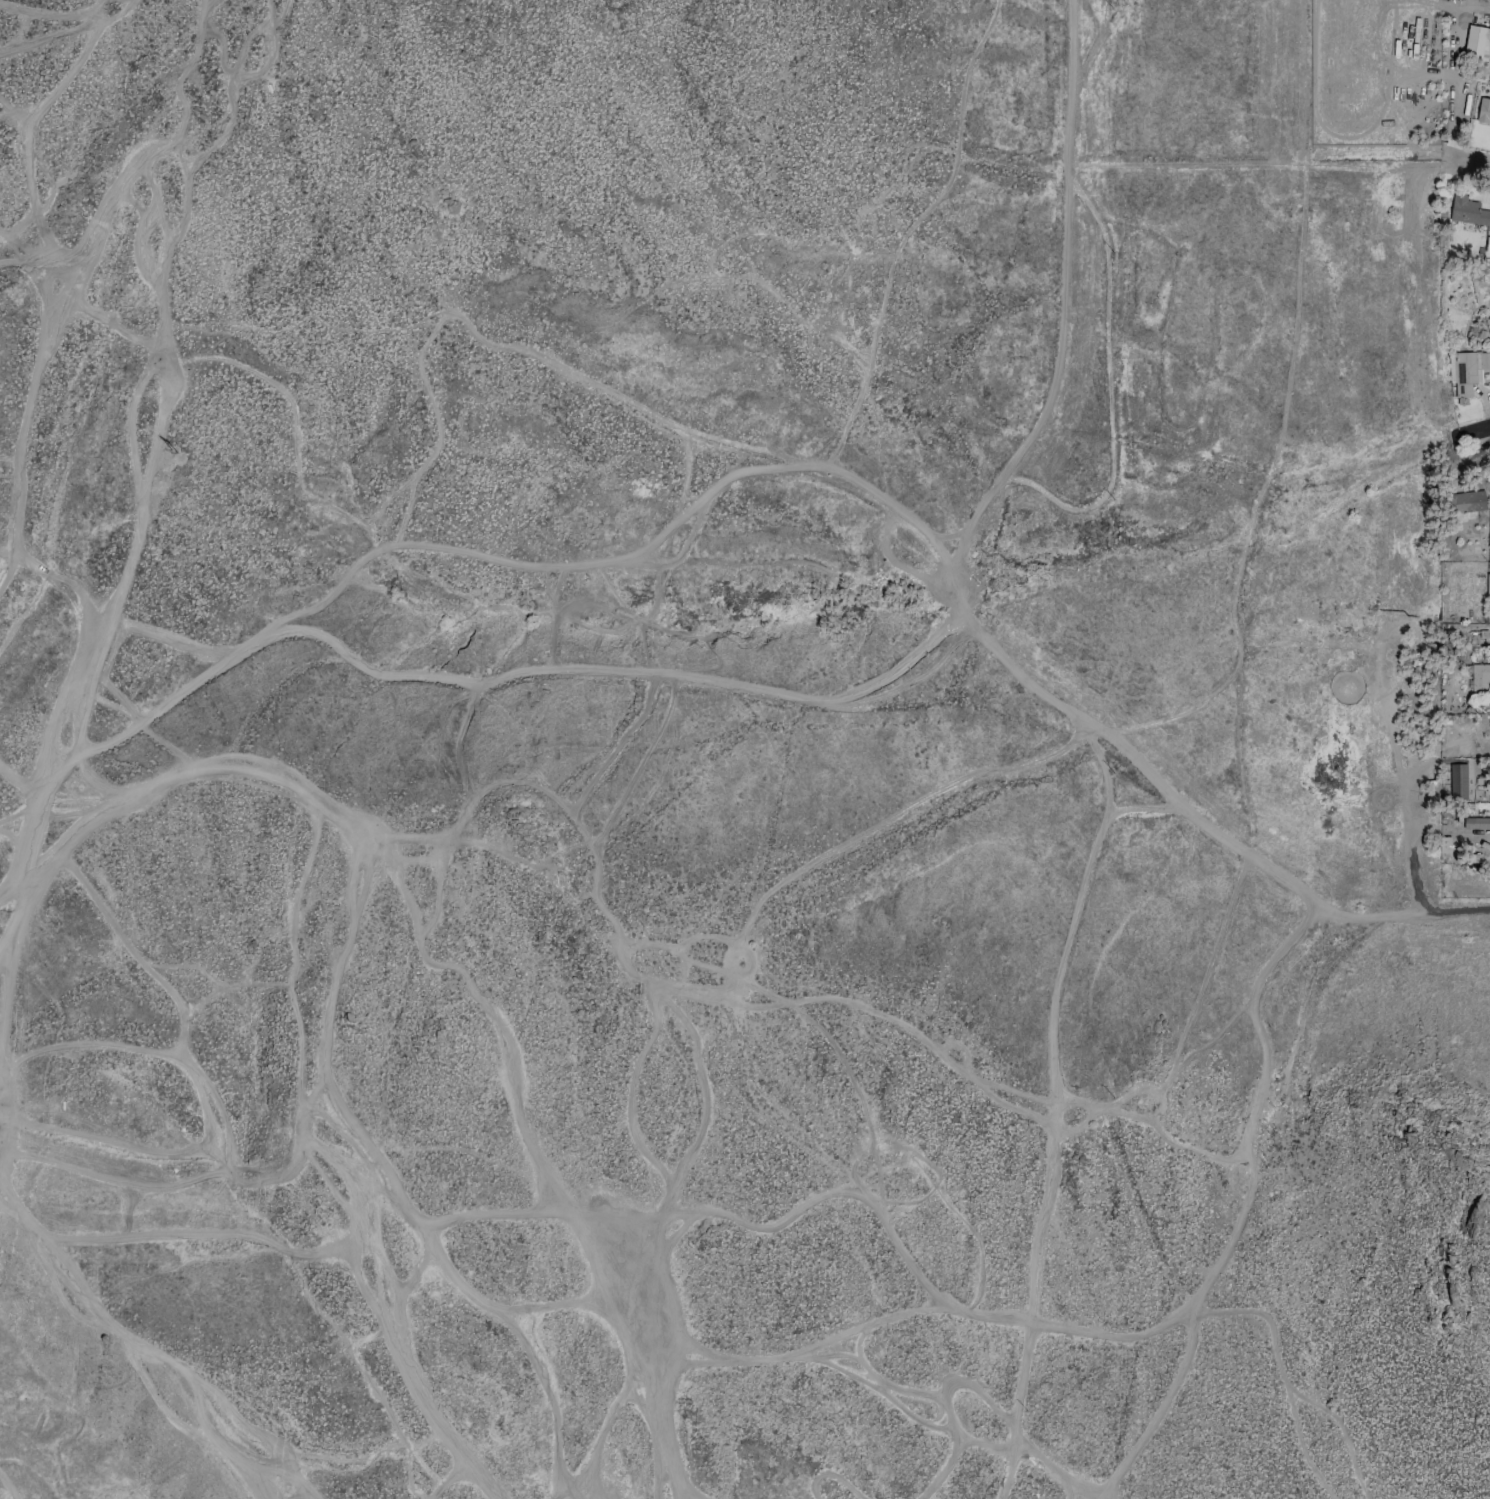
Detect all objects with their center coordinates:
building: (1477, 42)
building: (1483, 110)
road: (1471, 160)
road: (1259, 161)
building: (1469, 212)
building: (1487, 244)
road: (156, 291)
building: (1468, 370)
road: (1476, 427)
road: (1247, 432)
building: (1466, 501)
road: (55, 580)
building: (1488, 584)
road: (966, 614)
building: (1480, 678)
road: (540, 685)
road: (79, 733)
road: (1043, 1107)
road: (122, 1388)

